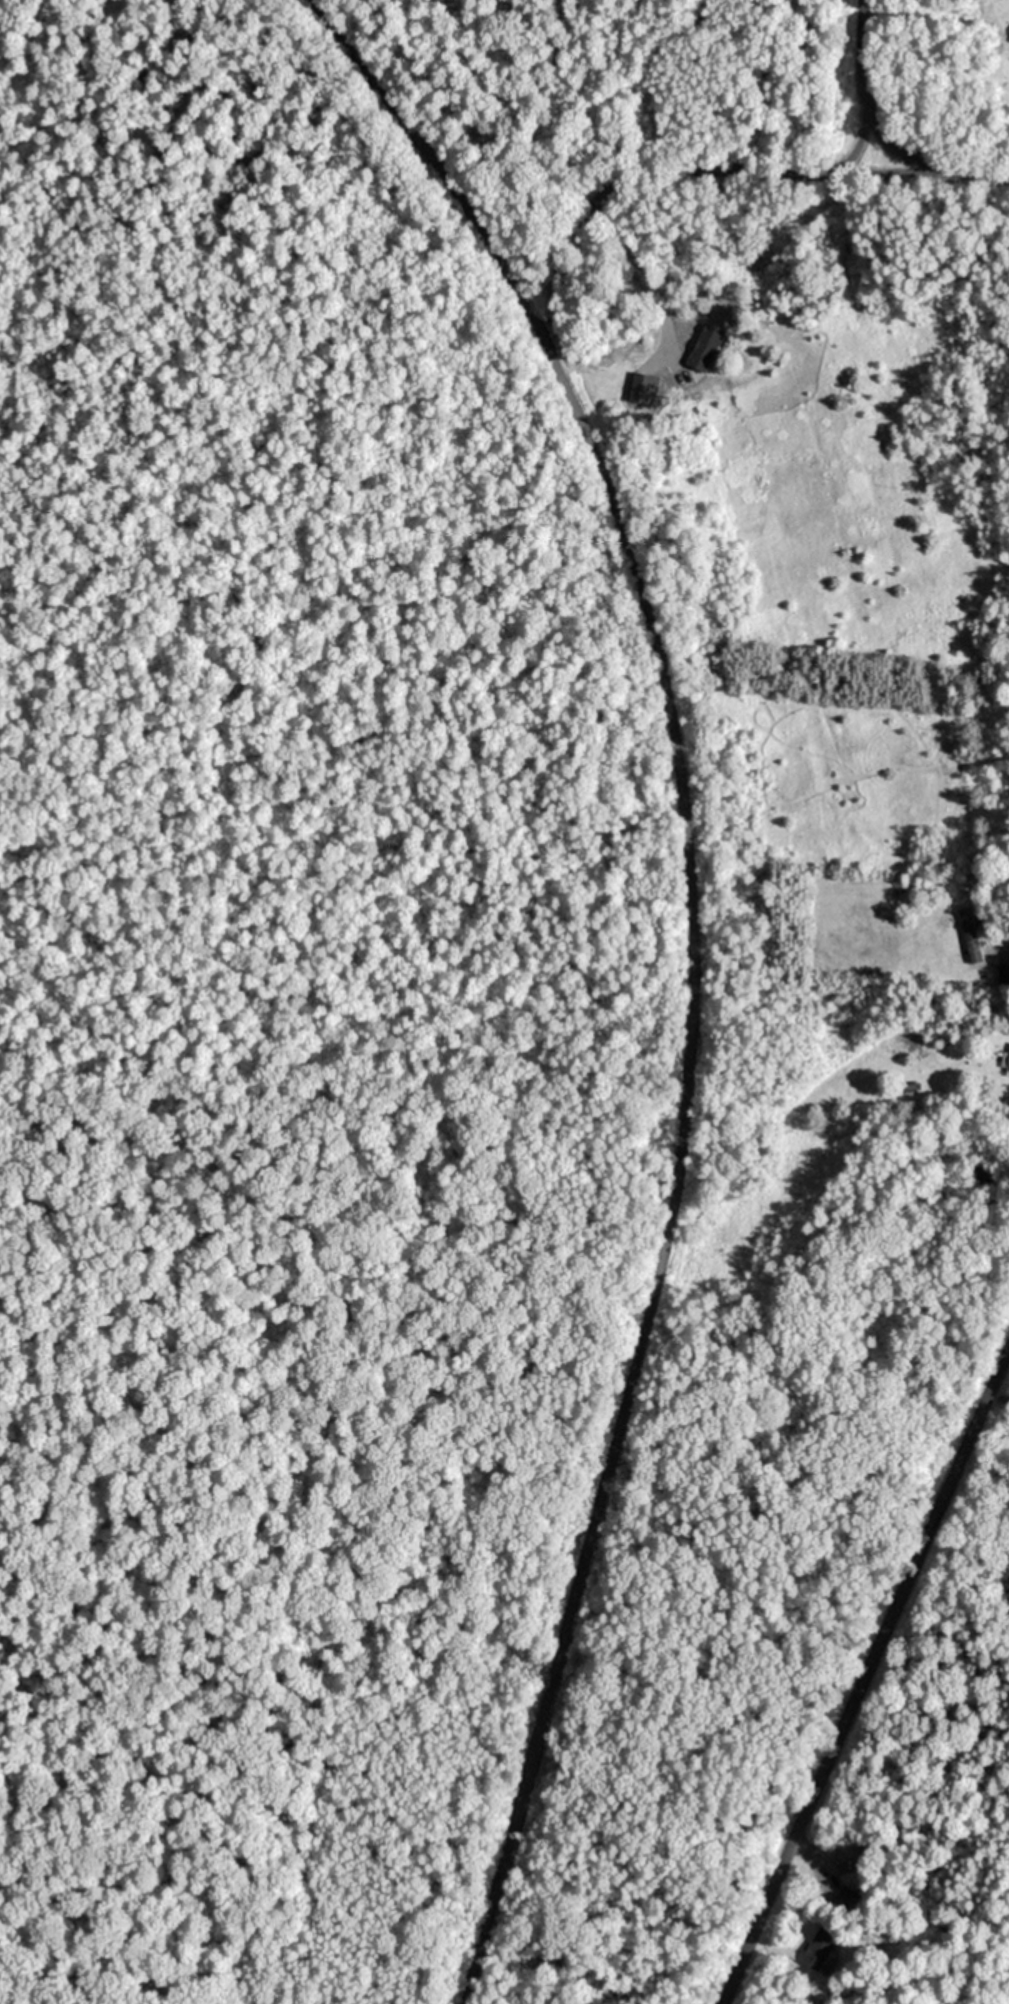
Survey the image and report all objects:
road: (330, 18)
road: (884, 130)
road: (850, 144)
road: (782, 168)
road: (554, 327)
building: (969, 933)
building: (1003, 973)
road: (686, 992)
building: (1007, 1063)
building: (982, 1173)
road: (864, 1670)
road: (806, 1853)
building: (850, 1858)
building: (820, 1949)

